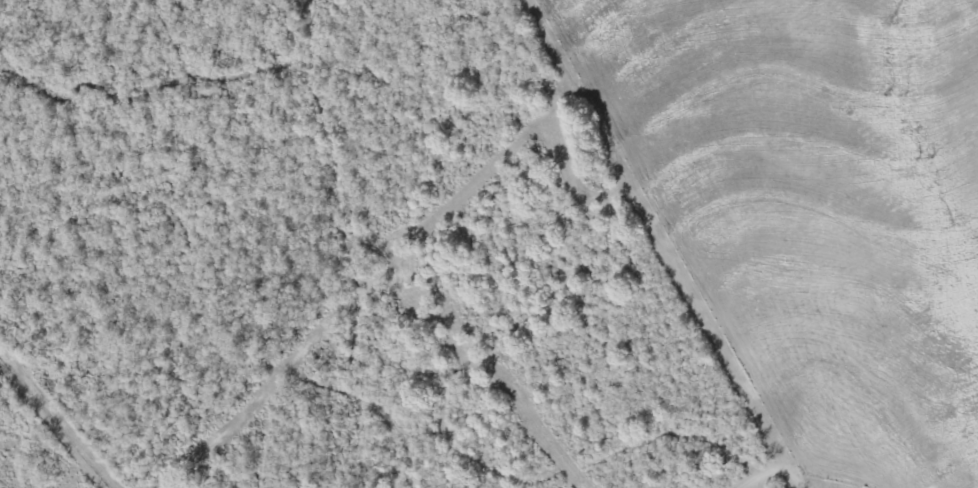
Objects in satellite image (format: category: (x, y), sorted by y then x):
river: (173, 84)

